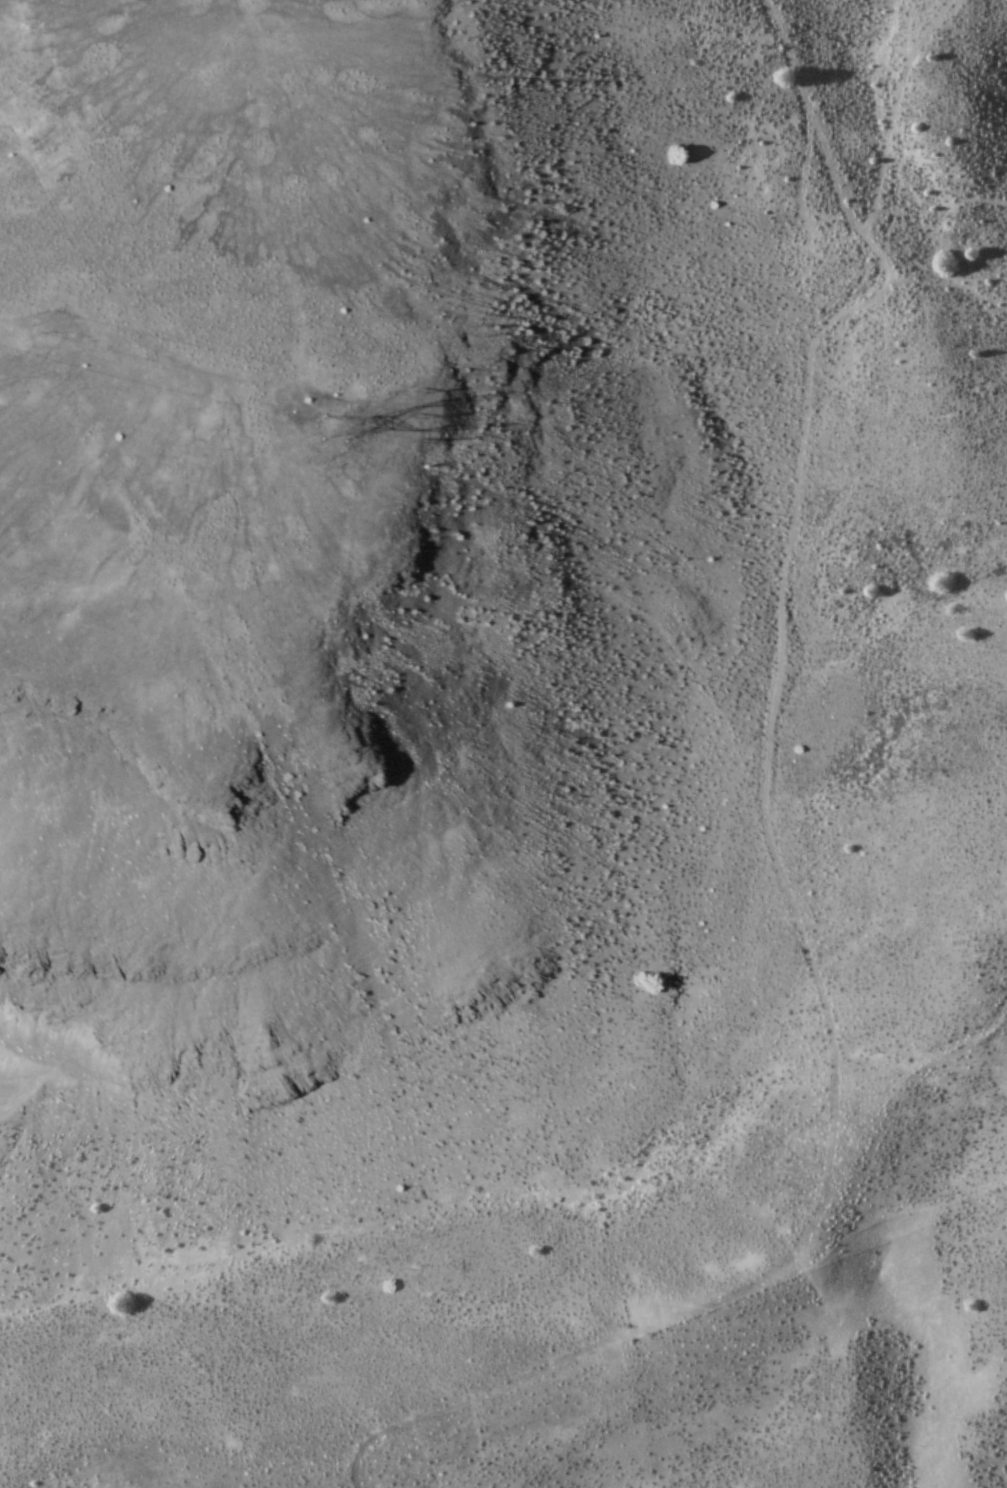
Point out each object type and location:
road: (948, 297)
power tower: (344, 446)
road: (767, 864)

